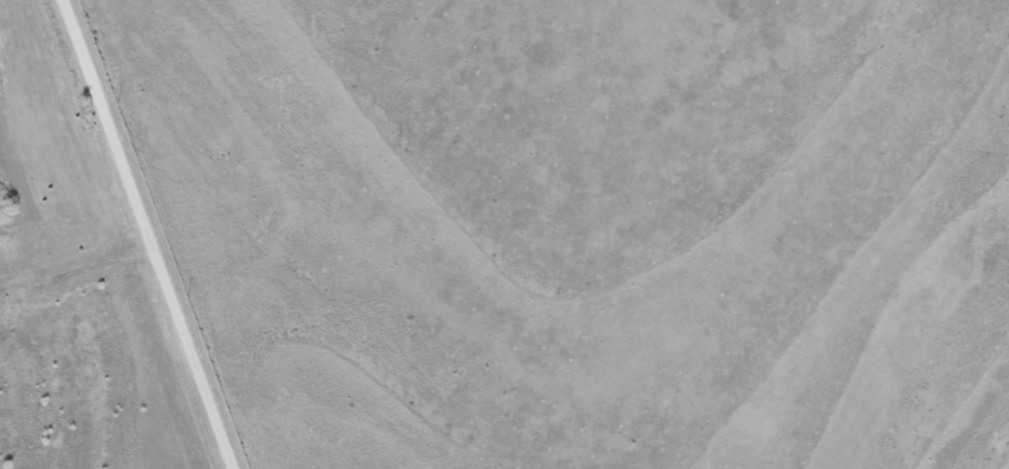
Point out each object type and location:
road: (149, 234)

